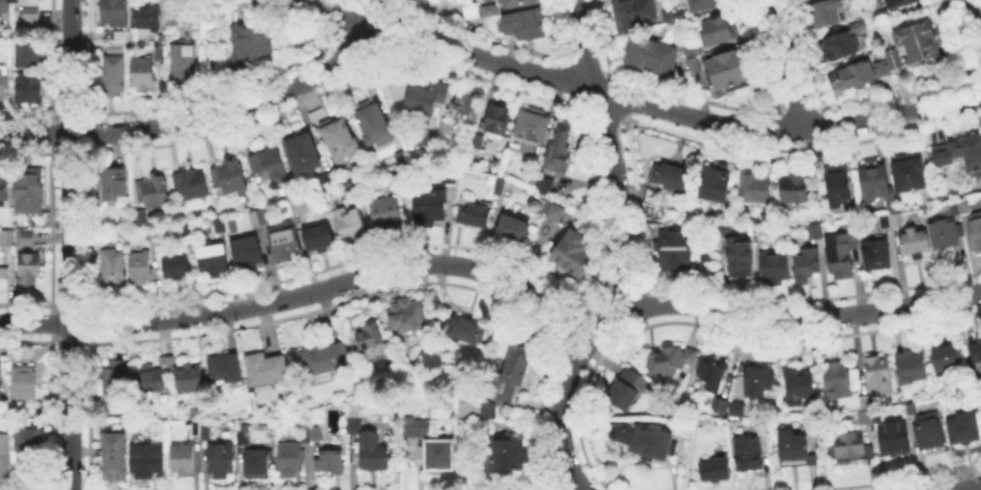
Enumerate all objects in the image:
building: (445, 1)
building: (29, 2)
building: (892, 2)
building: (519, 3)
building: (703, 3)
building: (4, 7)
building: (824, 10)
building: (471, 11)
building: (490, 11)
building: (878, 12)
building: (30, 13)
building: (114, 13)
road: (323, 13)
road: (375, 13)
building: (631, 13)
building: (147, 17)
building: (173, 18)
road: (970, 23)
building: (526, 24)
building: (714, 29)
building: (122, 37)
building: (917, 39)
building: (839, 42)
building: (250, 47)
building: (116, 49)
building: (160, 53)
building: (28, 54)
building: (651, 54)
building: (891, 56)
building: (183, 62)
road: (785, 64)
building: (880, 66)
building: (724, 68)
building: (853, 72)
building: (143, 74)
building: (114, 75)
building: (6, 87)
building: (29, 88)
building: (426, 101)
building: (466, 108)
road: (672, 110)
road: (197, 116)
building: (498, 120)
building: (374, 124)
building: (444, 127)
building: (534, 128)
building: (428, 140)
building: (342, 141)
building: (477, 141)
building: (562, 150)
road: (611, 152)
building: (959, 154)
building: (304, 156)
building: (269, 166)
building: (907, 172)
building: (670, 175)
building: (230, 177)
building: (873, 179)
building: (713, 182)
building: (542, 183)
building: (115, 184)
building: (191, 184)
building: (497, 184)
building: (836, 184)
building: (4, 185)
building: (752, 186)
building: (793, 187)
building: (30, 191)
building: (153, 192)
building: (297, 203)
building: (428, 203)
building: (962, 204)
building: (952, 207)
building: (384, 210)
building: (553, 210)
building: (472, 212)
building: (257, 215)
building: (141, 217)
building: (894, 218)
building: (882, 219)
building: (217, 222)
building: (230, 222)
building: (350, 223)
building: (511, 227)
building: (974, 228)
building: (813, 229)
building: (942, 230)
building: (316, 235)
building: (28, 238)
building: (912, 239)
building: (8, 240)
building: (282, 241)
road: (71, 245)
building: (673, 247)
building: (244, 250)
building: (573, 251)
building: (874, 251)
building: (738, 252)
building: (839, 254)
building: (210, 259)
building: (806, 259)
building: (110, 263)
building: (175, 263)
building: (771, 263)
building: (139, 264)
building: (31, 269)
building: (4, 280)
road: (304, 293)
building: (405, 313)
road: (801, 319)
road: (601, 323)
building: (463, 327)
building: (371, 341)
building: (974, 347)
building: (323, 359)
building: (663, 359)
building: (943, 360)
building: (516, 363)
building: (264, 365)
building: (910, 366)
building: (223, 367)
building: (710, 370)
building: (877, 374)
building: (113, 377)
building: (187, 377)
building: (632, 377)
building: (835, 378)
building: (147, 379)
building: (759, 380)
building: (27, 383)
building: (797, 383)
building: (1, 386)
building: (506, 390)
building: (620, 392)
building: (718, 403)
building: (979, 405)
building: (735, 407)
building: (910, 407)
building: (487, 409)
building: (193, 411)
road: (558, 415)
building: (865, 416)
building: (353, 422)
building: (194, 425)
building: (418, 425)
building: (205, 427)
building: (681, 427)
building: (960, 427)
building: (927, 428)
building: (315, 431)
building: (304, 433)
building: (242, 436)
building: (891, 437)
building: (34, 438)
building: (643, 438)
building: (113, 443)
building: (847, 445)
building: (793, 448)
building: (370, 450)
building: (746, 451)
building: (438, 453)
building: (505, 453)
building: (180, 455)
building: (218, 456)
building: (288, 456)
building: (144, 457)
building: (328, 459)
building: (5, 460)
building: (255, 462)
building: (112, 465)
building: (713, 467)
road: (971, 488)

